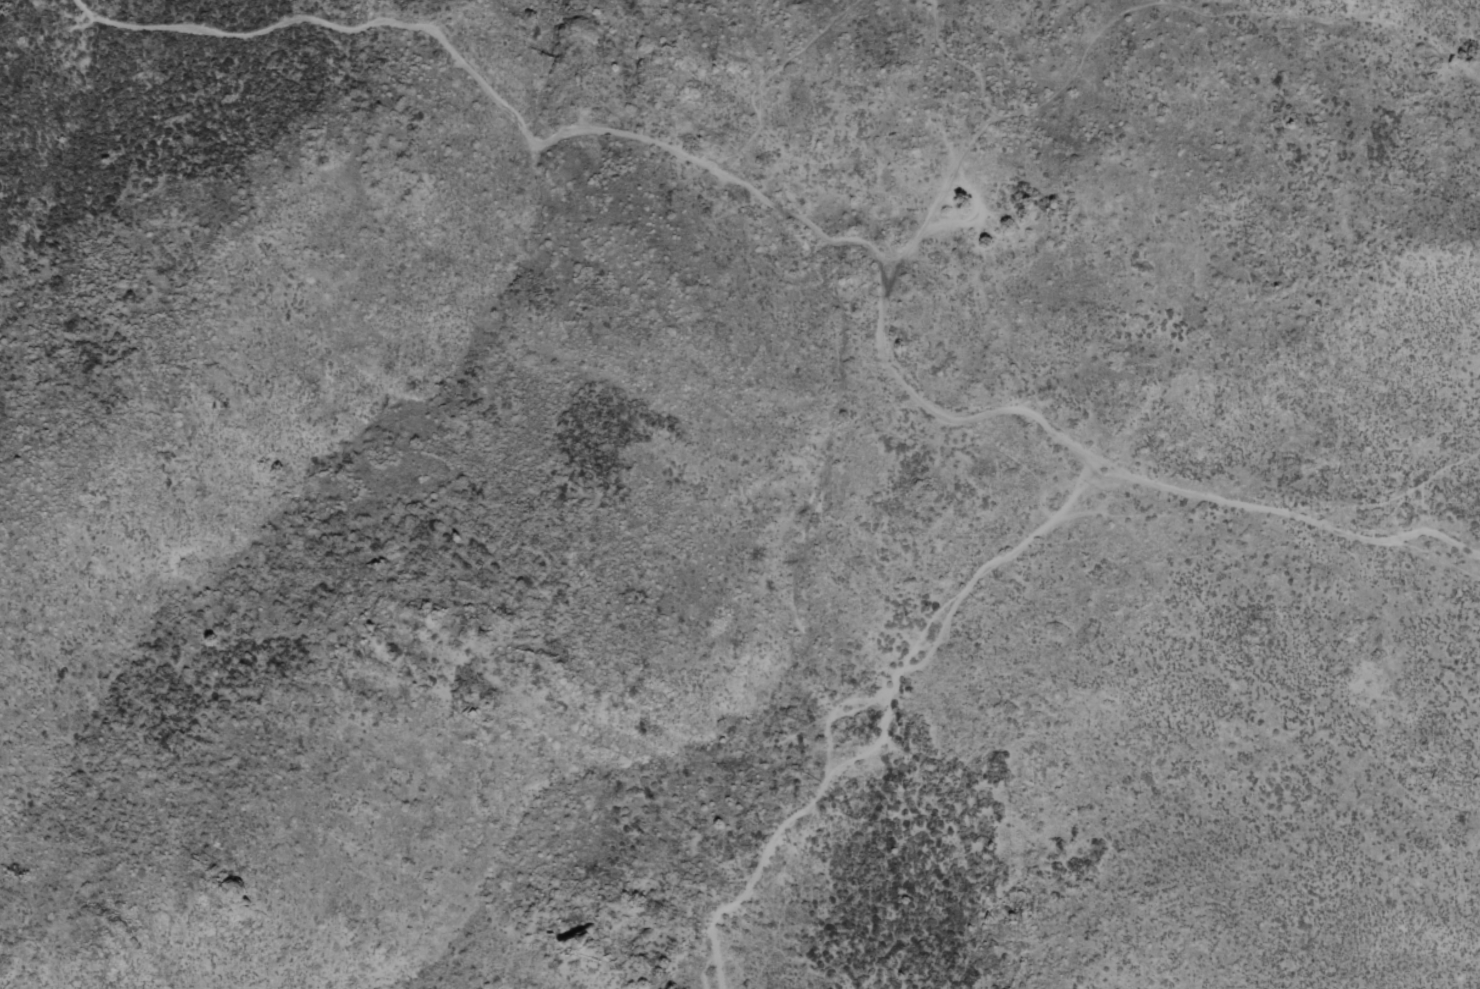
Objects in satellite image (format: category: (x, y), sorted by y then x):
road: (815, 230)
road: (831, 715)
road: (886, 718)
road: (704, 969)

